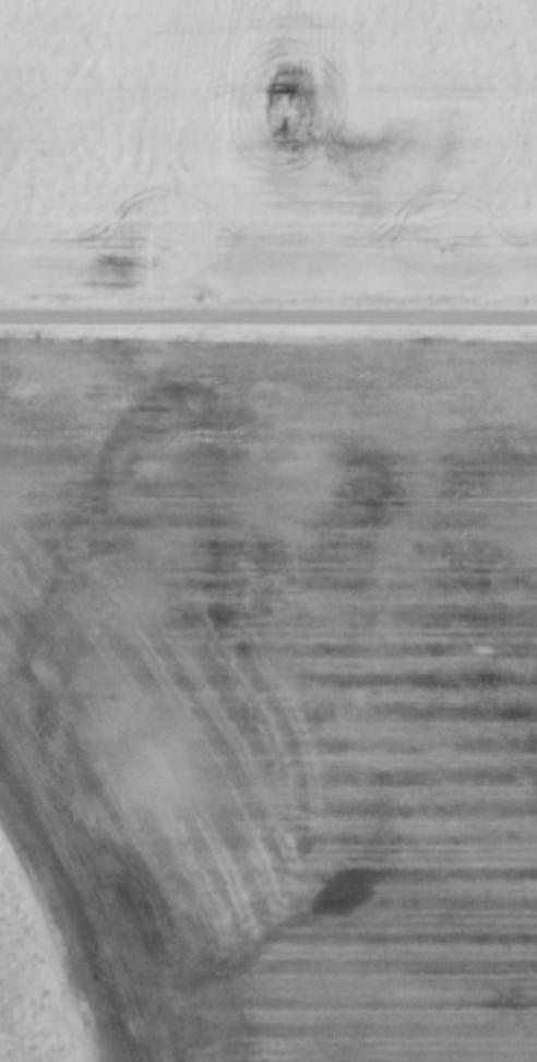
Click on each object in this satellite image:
road: (268, 315)

